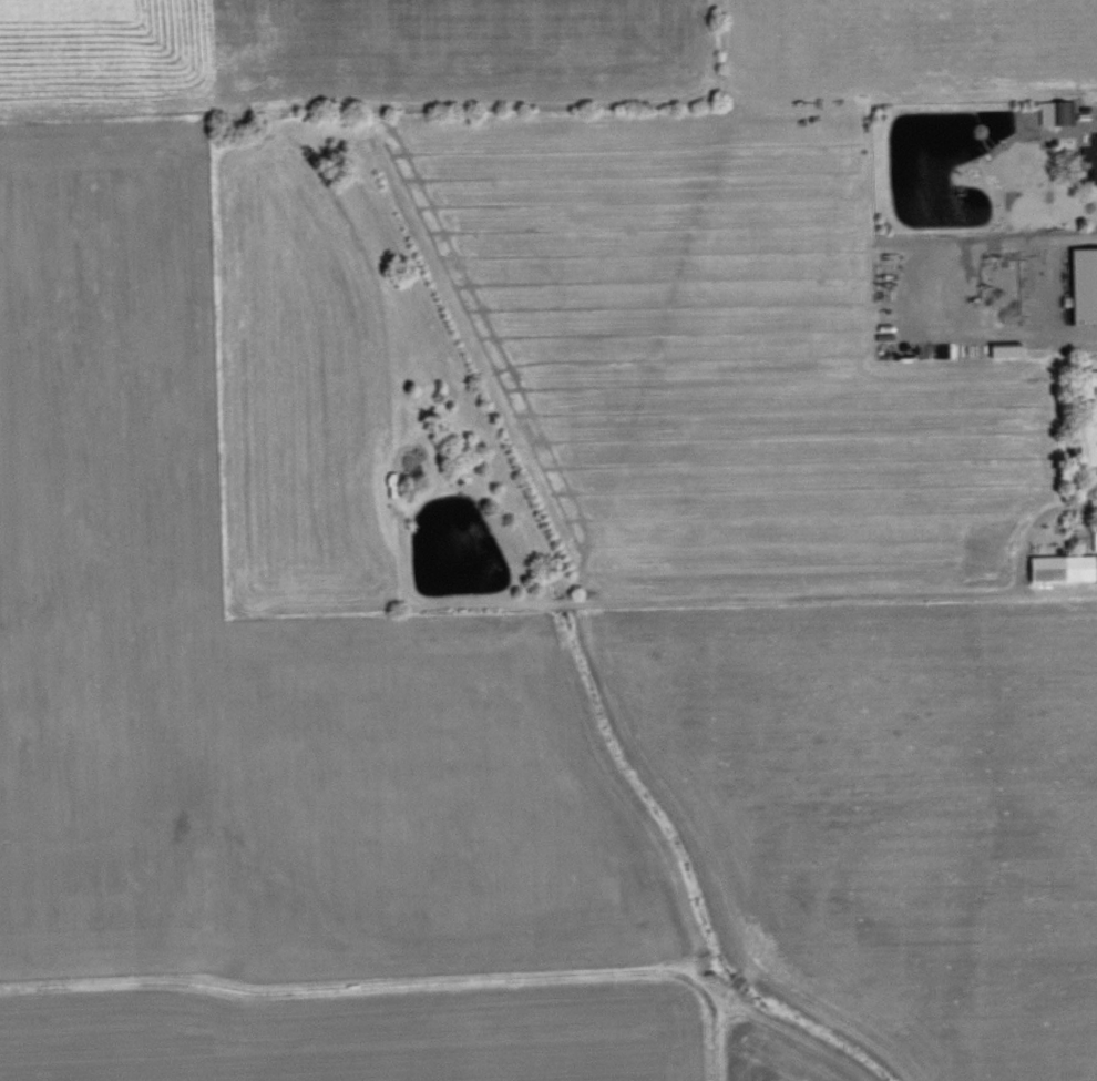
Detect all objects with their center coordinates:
building: (1056, 111)
building: (1090, 161)
building: (1083, 285)
building: (1091, 379)
building: (1094, 540)
building: (1060, 568)
building: (1096, 572)

